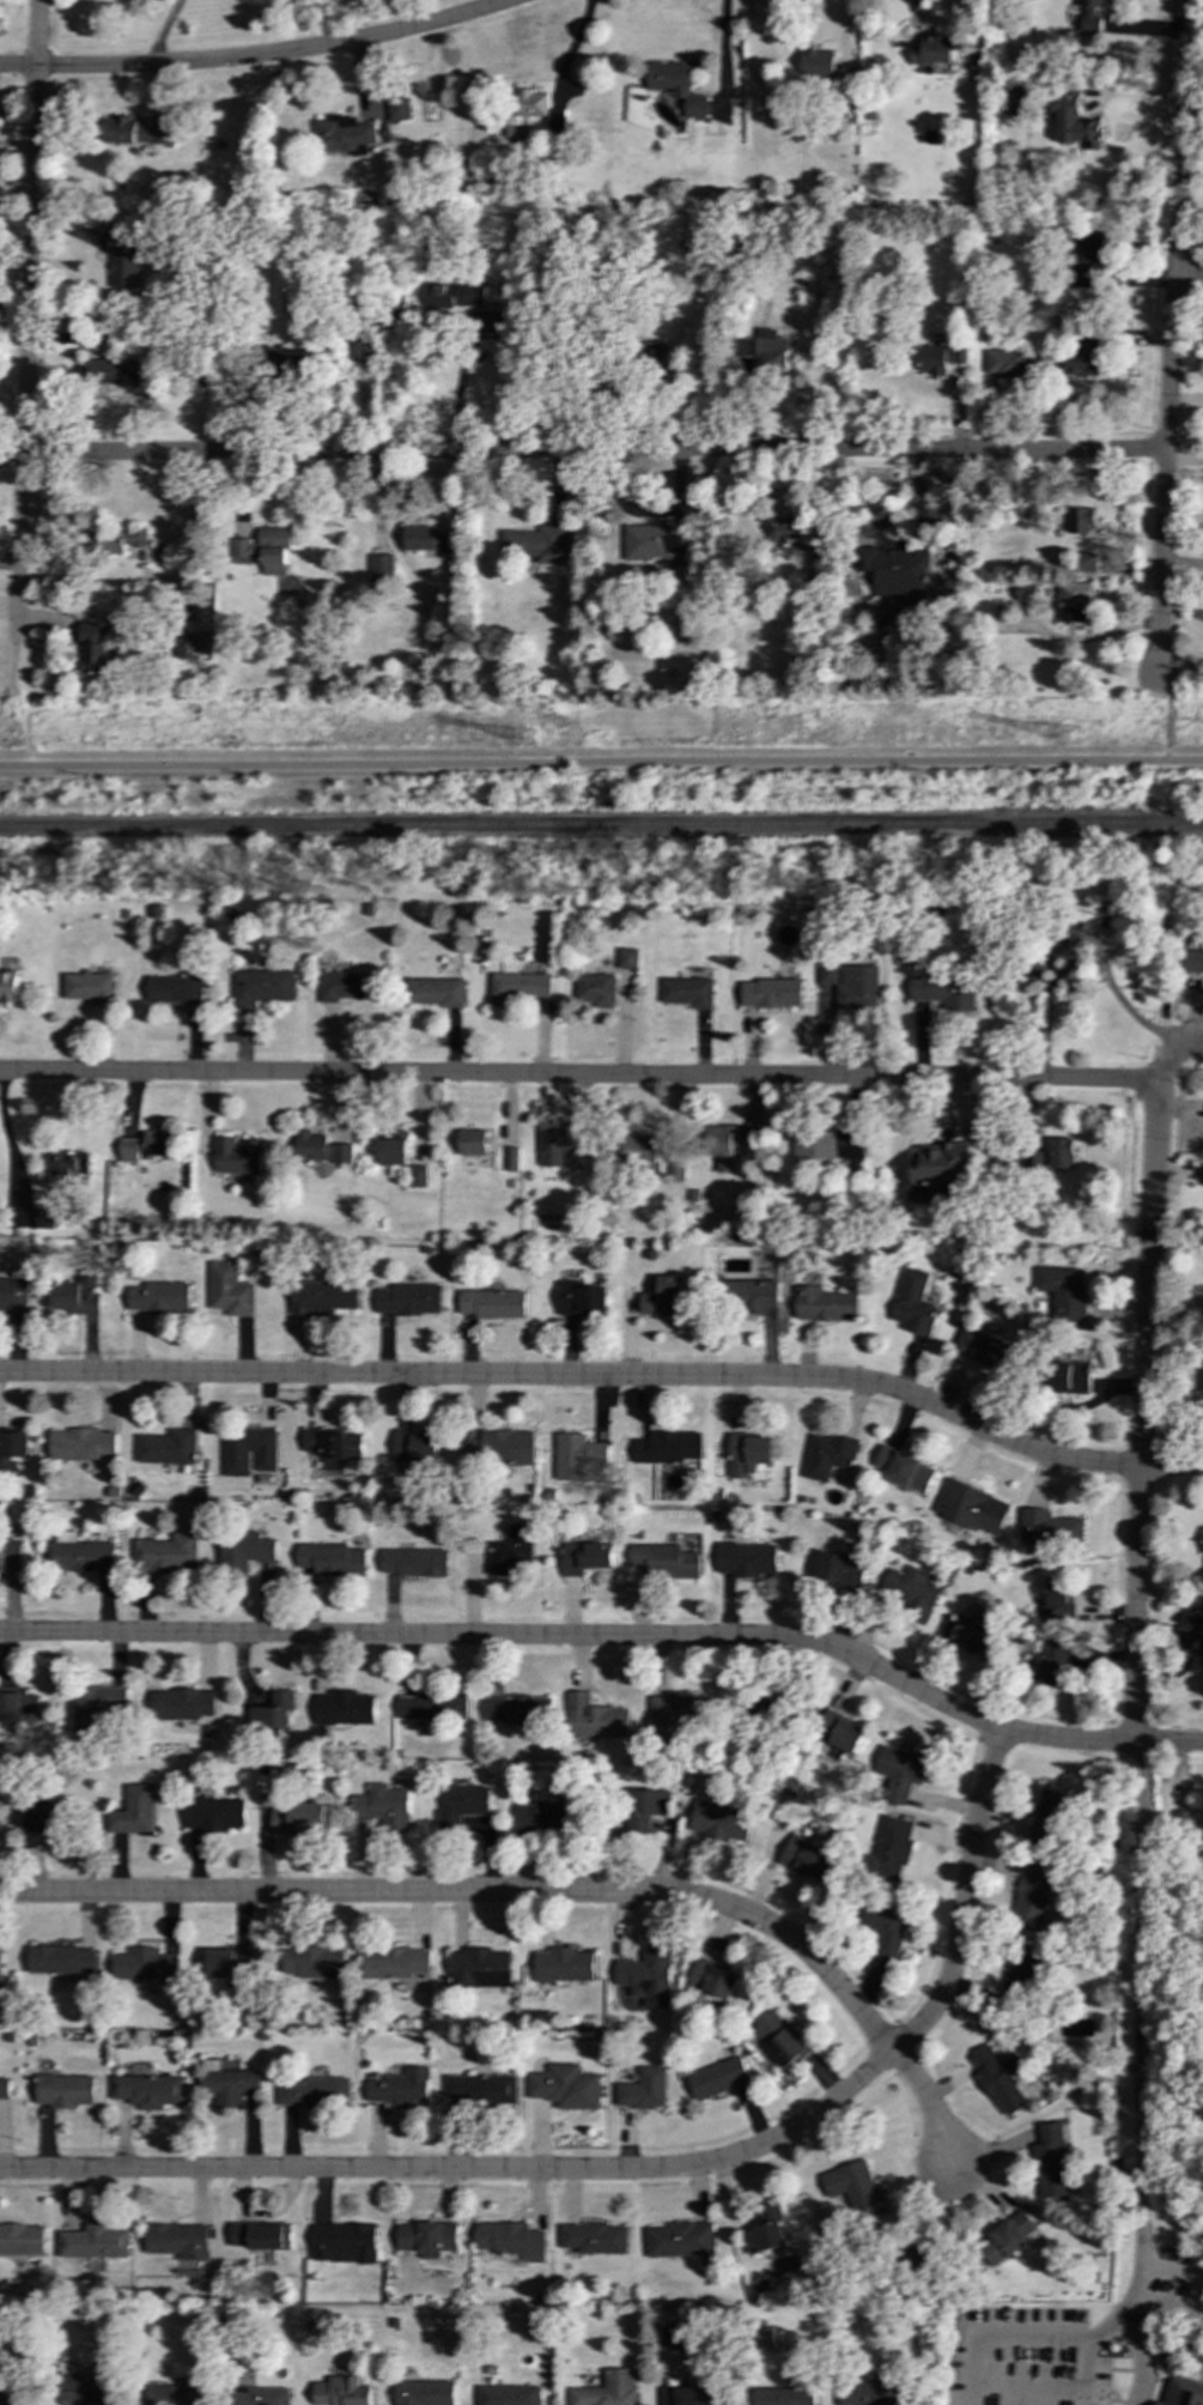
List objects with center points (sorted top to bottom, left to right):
building: (1089, 2)
building: (1086, 19)
road: (725, 48)
building: (931, 50)
road: (261, 56)
building: (818, 63)
building: (675, 86)
building: (1016, 101)
building: (397, 109)
building: (523, 110)
building: (554, 121)
building: (1074, 123)
building: (138, 132)
building: (342, 133)
road: (30, 225)
building: (1084, 258)
building: (123, 261)
road: (1189, 280)
building: (457, 297)
road: (1171, 332)
building: (361, 345)
building: (759, 353)
building: (938, 358)
building: (1086, 358)
building: (1011, 363)
building: (285, 365)
building: (111, 372)
road: (461, 387)
road: (582, 452)
building: (1079, 520)
building: (788, 534)
building: (425, 539)
building: (656, 539)
building: (117, 540)
building: (537, 544)
road: (20, 547)
building: (266, 550)
building: (163, 552)
building: (1084, 562)
building: (818, 563)
building: (379, 564)
building: (897, 570)
building: (1025, 590)
building: (1073, 600)
building: (187, 646)
building: (93, 647)
road: (1168, 711)
power tower: (530, 739)
power tower: (1074, 739)
road: (601, 763)
railway: (601, 826)
road: (1082, 945)
building: (627, 958)
building: (1192, 962)
building: (850, 985)
building: (7, 986)
building: (87, 986)
building: (263, 986)
building: (342, 986)
building: (520, 987)
building: (943, 989)
building: (175, 991)
building: (596, 991)
building: (435, 992)
building: (687, 992)
building: (771, 993)
road: (1173, 1054)
road: (579, 1074)
building: (747, 1140)
building: (472, 1141)
building: (563, 1144)
building: (147, 1145)
building: (719, 1145)
building: (828, 1145)
building: (318, 1149)
building: (393, 1149)
building: (639, 1150)
building: (1061, 1152)
building: (237, 1156)
building: (512, 1158)
building: (1033, 1161)
building: (68, 1164)
building: (936, 1169)
building: (417, 1176)
building: (44, 1218)
building: (231, 1290)
building: (1062, 1290)
building: (75, 1296)
building: (751, 1296)
building: (13, 1297)
building: (158, 1297)
building: (322, 1297)
building: (663, 1297)
building: (409, 1298)
building: (582, 1298)
building: (493, 1303)
building: (913, 1303)
building: (825, 1304)
building: (984, 1347)
road: (608, 1376)
building: (1069, 1377)
building: (80, 1443)
building: (12, 1446)
building: (334, 1446)
building: (169, 1447)
building: (415, 1447)
building: (499, 1447)
building: (667, 1447)
building: (748, 1453)
building: (577, 1455)
building: (828, 1455)
building: (236, 1460)
building: (904, 1470)
building: (971, 1507)
building: (1049, 1529)
building: (244, 1550)
building: (512, 1551)
building: (10, 1555)
building: (81, 1556)
building: (585, 1557)
building: (332, 1559)
building: (747, 1559)
building: (666, 1561)
building: (415, 1562)
building: (839, 1569)
building: (910, 1592)
building: (1053, 1601)
building: (1189, 1621)
road: (612, 1637)
building: (974, 1637)
building: (1199, 1649)
building: (1053, 1662)
road: (1134, 1666)
building: (183, 1703)
building: (95, 1704)
building: (433, 1706)
building: (19, 1707)
building: (345, 1708)
building: (773, 1708)
building: (517, 1709)
building: (673, 1712)
building: (273, 1713)
building: (595, 1719)
building: (839, 1732)
building: (899, 1771)
building: (462, 1805)
building: (383, 1806)
building: (645, 1807)
building: (134, 1811)
building: (44, 1812)
building: (214, 1813)
building: (545, 1813)
building: (1051, 1817)
building: (300, 1818)
building: (721, 1822)
building: (891, 1846)
building: (806, 1858)
road: (476, 1894)
building: (1032, 1898)
building: (885, 1931)
building: (62, 1959)
building: (229, 1962)
building: (395, 1962)
building: (312, 1963)
building: (0, 1964)
building: (145, 1964)
building: (563, 1964)
building: (479, 1968)
building: (646, 1977)
building: (1022, 1977)
building: (713, 1979)
building: (782, 2039)
building: (718, 2078)
building: (998, 2078)
building: (229, 2085)
building: (565, 2086)
building: (4, 2088)
building: (400, 2088)
building: (480, 2089)
building: (643, 2089)
building: (63, 2090)
building: (146, 2090)
building: (314, 2092)
road: (934, 2108)
building: (1050, 2161)
road: (637, 2170)
building: (855, 2188)
building: (765, 2230)
building: (259, 2236)
building: (594, 2237)
building: (1005, 2237)
building: (425, 2239)
building: (679, 2239)
building: (20, 2240)
building: (177, 2240)
building: (510, 2240)
building: (92, 2242)
building: (342, 2242)
road: (1169, 2274)
road: (1126, 2301)
road: (1168, 2304)
building: (674, 2337)
park: (1082, 2337)
building: (764, 2338)
road: (997, 2339)
road: (1138, 2352)
parking lot: (1023, 2358)
road: (1084, 2371)
building: (84, 2389)
building: (607, 2389)
building: (341, 2392)
building: (425, 2392)
building: (868, 2393)
building: (1183, 2393)
building: (175, 2394)
building: (508, 2394)
building: (688, 2395)
building: (784, 2395)
building: (12, 2397)
building: (262, 2397)

